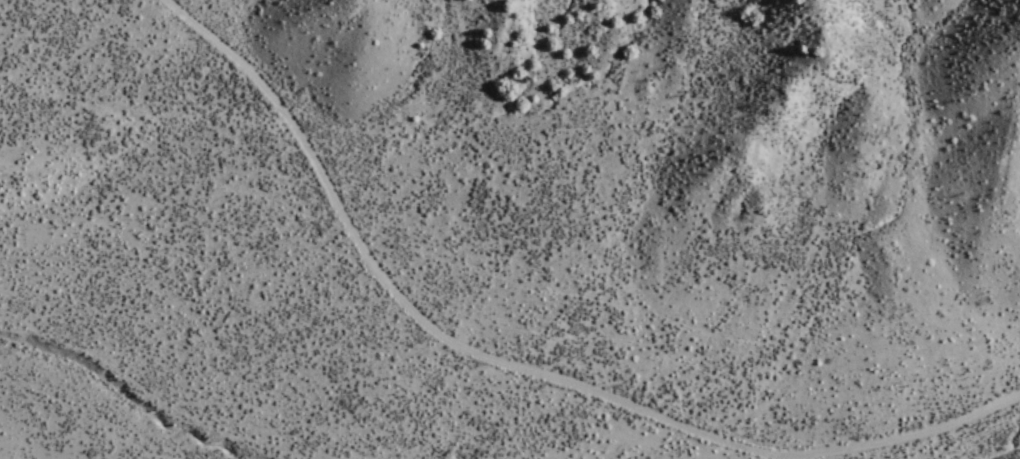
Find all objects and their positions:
crop: (21, 224)
road: (387, 295)
crop: (856, 381)
road: (966, 444)

